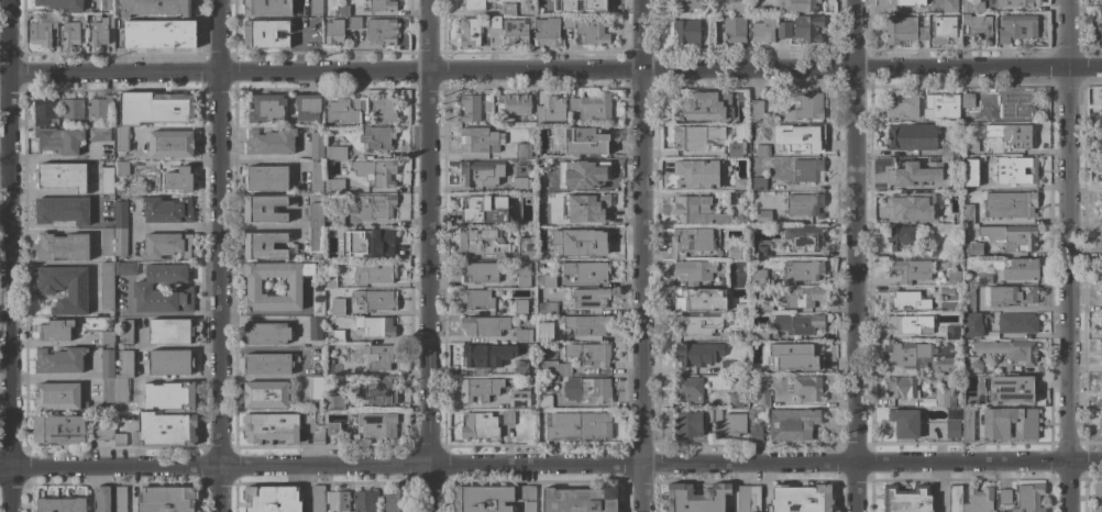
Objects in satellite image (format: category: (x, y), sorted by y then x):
building: (1101, 1)
building: (905, 2)
building: (1010, 2)
building: (588, 3)
building: (691, 3)
building: (62, 4)
building: (106, 4)
building: (474, 4)
building: (383, 5)
building: (800, 5)
building: (155, 7)
building: (267, 7)
building: (316, 7)
building: (950, 7)
building: (972, 7)
building: (739, 8)
building: (509, 9)
building: (559, 9)
building: (342, 11)
building: (354, 22)
building: (494, 22)
building: (567, 22)
building: (1100, 22)
building: (979, 25)
building: (807, 27)
building: (1016, 27)
building: (735, 29)
building: (42, 30)
building: (517, 30)
building: (763, 30)
building: (783, 30)
building: (100, 31)
building: (333, 31)
building: (382, 31)
building: (471, 31)
building: (687, 31)
building: (903, 31)
building: (946, 31)
building: (71, 32)
building: (547, 32)
building: (592, 32)
building: (158, 34)
building: (265, 34)
road: (641, 35)
road: (851, 35)
road: (217, 36)
road: (427, 36)
road: (977, 68)
road: (747, 70)
road: (535, 73)
road: (217, 74)
building: (486, 102)
building: (1016, 103)
building: (363, 104)
building: (516, 104)
building: (902, 104)
building: (307, 107)
building: (592, 107)
building: (701, 107)
building: (805, 107)
building: (941, 107)
building: (976, 107)
building: (71, 108)
building: (267, 108)
building: (98, 109)
building: (155, 109)
building: (383, 109)
building: (470, 109)
building: (343, 110)
building: (1100, 110)
building: (551, 111)
building: (756, 111)
building: (44, 112)
building: (98, 134)
building: (1011, 134)
building: (1101, 135)
building: (695, 136)
building: (805, 136)
building: (912, 136)
building: (377, 137)
building: (122, 138)
building: (58, 140)
building: (480, 141)
building: (583, 141)
building: (271, 142)
building: (170, 144)
building: (317, 145)
building: (970, 145)
building: (737, 149)
building: (522, 151)
building: (762, 151)
building: (335, 153)
building: (1101, 165)
building: (121, 168)
building: (908, 168)
building: (807, 170)
building: (1016, 170)
building: (375, 171)
building: (587, 171)
building: (475, 172)
building: (971, 172)
building: (697, 174)
building: (62, 176)
building: (316, 177)
building: (266, 178)
building: (178, 179)
building: (107, 180)
building: (949, 182)
building: (547, 183)
building: (739, 183)
building: (758, 183)
building: (334, 185)
building: (519, 185)
building: (745, 193)
building: (110, 197)
building: (734, 198)
building: (1101, 199)
building: (805, 204)
building: (904, 204)
building: (1010, 204)
building: (373, 205)
building: (585, 205)
building: (475, 208)
building: (263, 209)
building: (62, 210)
building: (166, 210)
building: (696, 210)
building: (968, 213)
building: (1101, 213)
building: (120, 214)
building: (763, 216)
building: (548, 218)
building: (949, 218)
building: (337, 219)
building: (519, 219)
building: (315, 226)
building: (533, 230)
building: (1101, 230)
building: (900, 236)
building: (1011, 236)
building: (804, 238)
building: (1101, 238)
building: (375, 241)
building: (591, 241)
building: (692, 241)
building: (106, 242)
building: (120, 242)
building: (481, 242)
building: (166, 245)
building: (62, 246)
building: (264, 246)
building: (337, 248)
building: (525, 248)
building: (972, 249)
building: (762, 251)
building: (547, 253)
building: (737, 253)
building: (940, 253)
road: (8, 255)
road: (1066, 256)
building: (1100, 265)
building: (1016, 268)
building: (586, 270)
building: (695, 270)
building: (803, 270)
building: (910, 270)
building: (368, 271)
building: (481, 271)
building: (521, 271)
building: (758, 277)
building: (952, 277)
building: (983, 278)
building: (732, 279)
building: (549, 280)
building: (329, 281)
building: (106, 286)
building: (253, 286)
building: (183, 288)
building: (946, 289)
road: (852, 290)
building: (77, 291)
road: (639, 291)
road: (218, 292)
road: (427, 292)
building: (1009, 294)
building: (801, 296)
building: (1101, 296)
building: (317, 297)
building: (589, 298)
building: (375, 299)
building: (476, 299)
building: (967, 299)
building: (699, 300)
building: (907, 301)
building: (520, 305)
building: (763, 307)
building: (337, 308)
building: (548, 308)
building: (1101, 320)
building: (797, 323)
building: (911, 323)
building: (1016, 323)
building: (585, 324)
building: (696, 324)
building: (972, 324)
building: (484, 325)
building: (375, 326)
building: (315, 327)
building: (54, 330)
building: (543, 330)
building: (169, 331)
building: (125, 332)
building: (951, 332)
building: (266, 333)
building: (522, 334)
building: (758, 334)
building: (550, 335)
building: (338, 336)
building: (107, 337)
building: (548, 348)
building: (558, 348)
building: (1009, 349)
building: (1100, 350)
building: (589, 354)
building: (696, 354)
building: (485, 355)
building: (381, 356)
building: (908, 356)
building: (793, 357)
building: (59, 360)
building: (169, 361)
building: (107, 364)
building: (267, 364)
building: (972, 364)
building: (125, 365)
building: (550, 365)
building: (728, 367)
building: (940, 367)
building: (520, 368)
building: (338, 370)
building: (902, 387)
building: (1100, 387)
building: (805, 388)
building: (315, 389)
building: (478, 389)
building: (587, 389)
building: (687, 389)
building: (1006, 389)
building: (107, 390)
building: (120, 390)
building: (376, 390)
building: (265, 394)
building: (169, 396)
building: (58, 397)
building: (519, 398)
building: (944, 398)
building: (760, 399)
building: (735, 400)
building: (543, 401)
building: (334, 402)
building: (756, 410)
building: (707, 415)
building: (717, 415)
building: (307, 416)
building: (507, 418)
building: (1100, 422)
building: (687, 423)
building: (735, 423)
building: (904, 423)
building: (952, 423)
building: (791, 424)
building: (968, 424)
building: (376, 425)
building: (480, 426)
building: (577, 426)
building: (271, 427)
building: (333, 427)
building: (58, 428)
building: (165, 430)
building: (995, 431)
building: (101, 433)
building: (318, 433)
building: (754, 434)
building: (120, 439)
road: (551, 463)
road: (939, 481)
building: (527, 492)
building: (1004, 496)
building: (317, 498)
building: (695, 498)
building: (1028, 498)
building: (1097, 498)
building: (101, 499)
building: (120, 499)
building: (166, 499)
building: (271, 499)
building: (482, 499)
building: (742, 499)
building: (754, 499)
building: (800, 499)
building: (906, 499)
building: (955, 499)
building: (337, 500)
building: (580, 500)
building: (978, 500)
building: (364, 501)
building: (393, 501)
building: (60, 504)
building: (528, 507)

